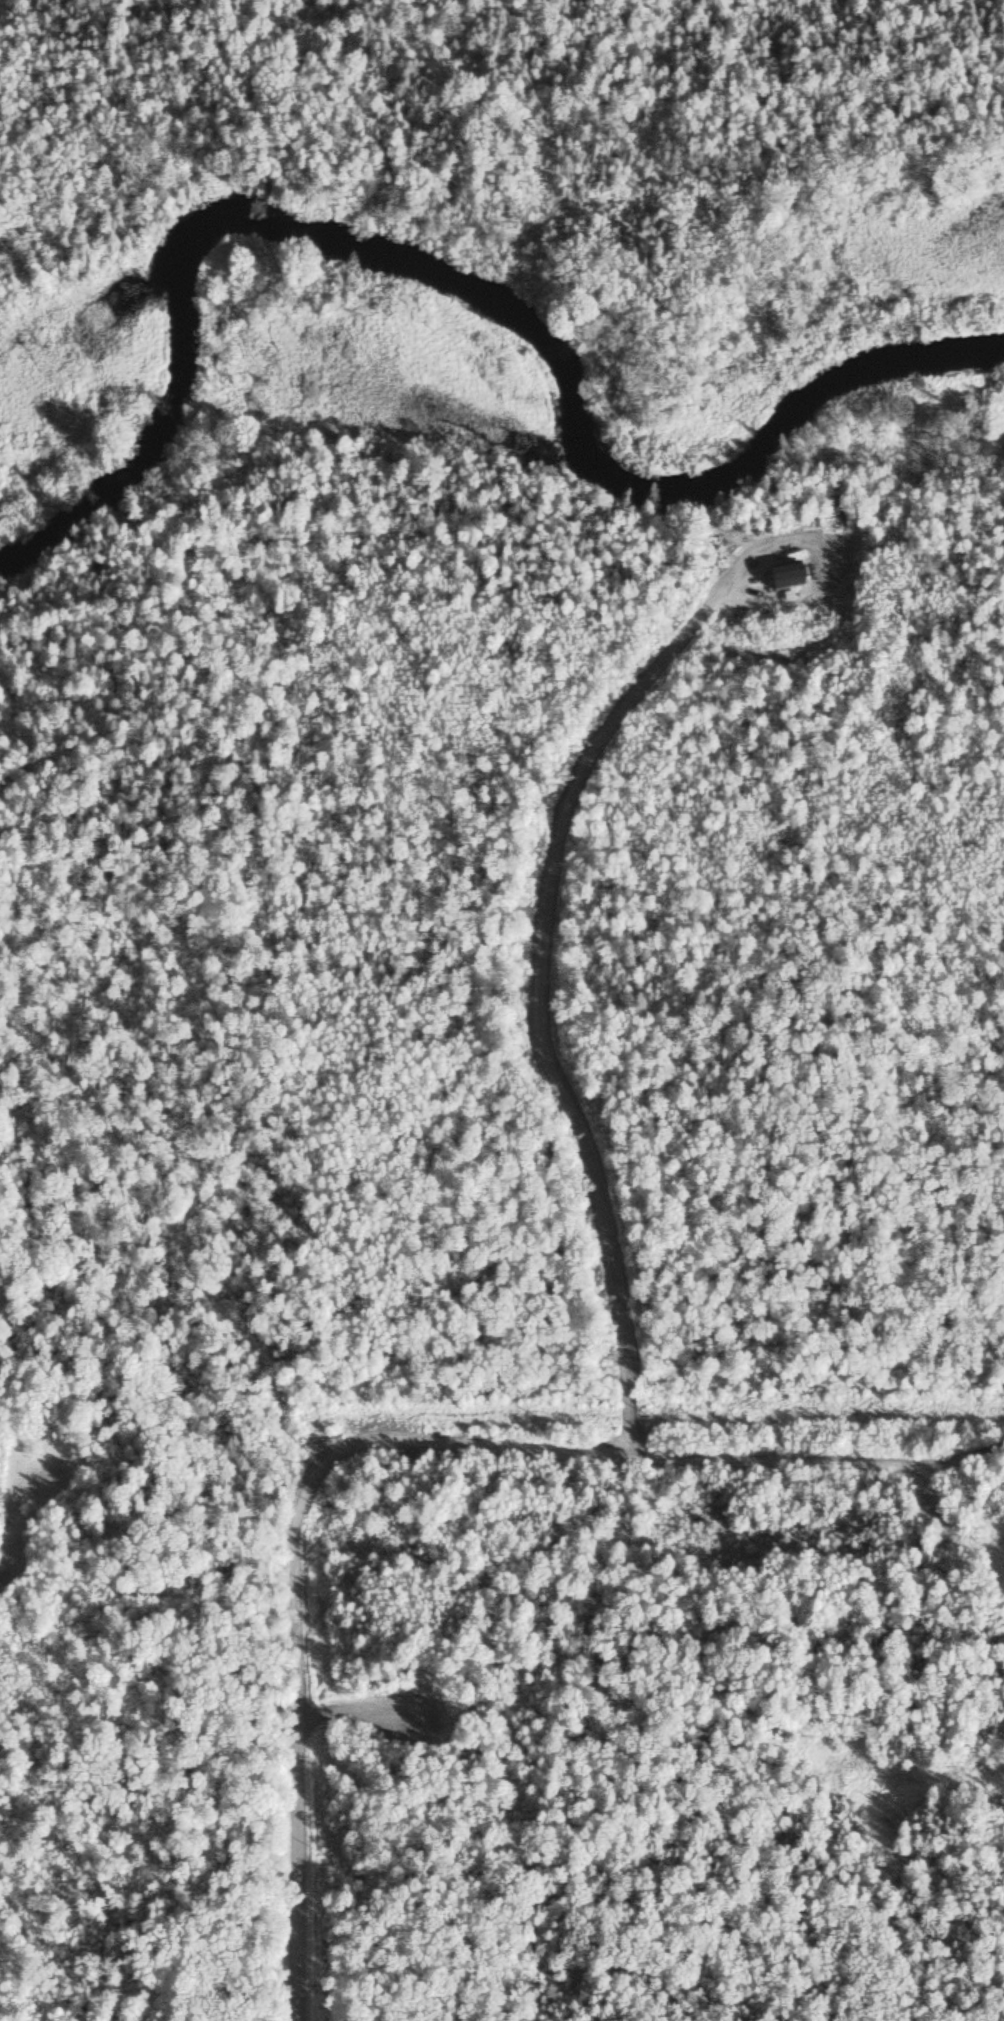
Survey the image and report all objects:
river: (466, 288)
road: (627, 1451)
road: (305, 1775)

